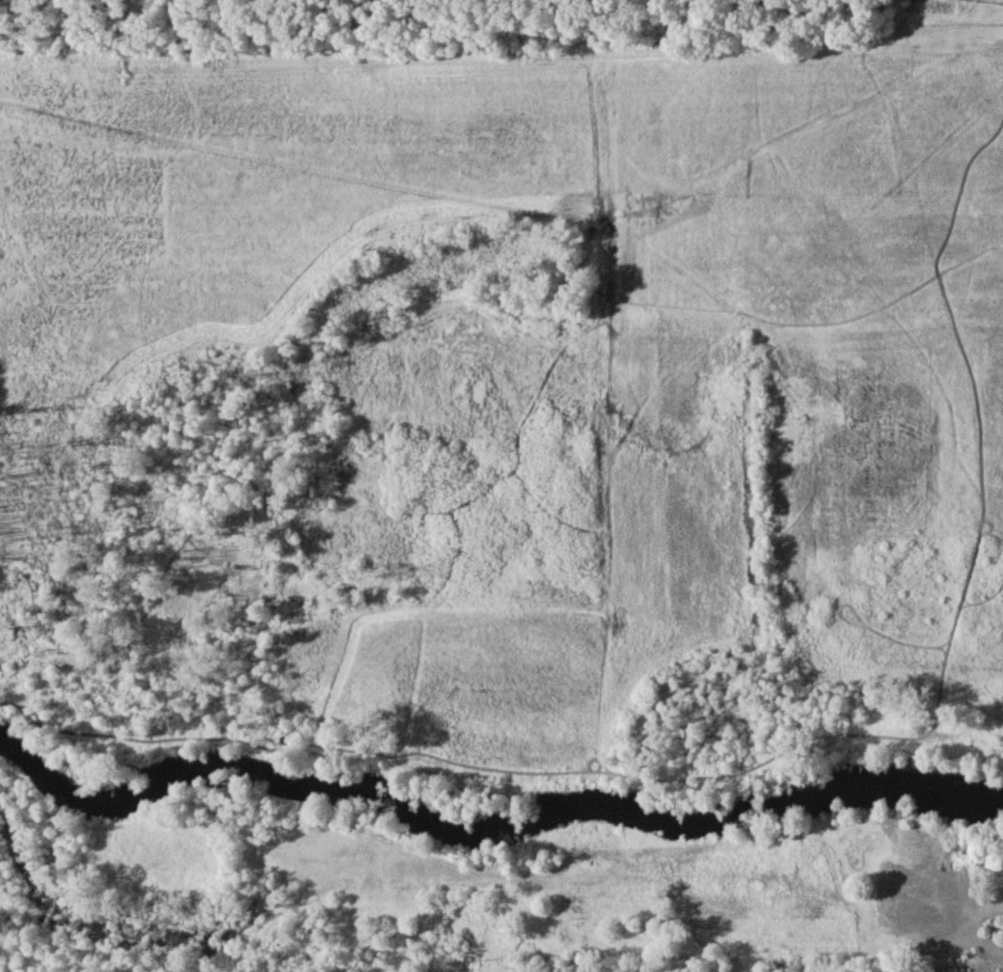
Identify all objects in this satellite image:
building: (929, 912)
road: (994, 913)

